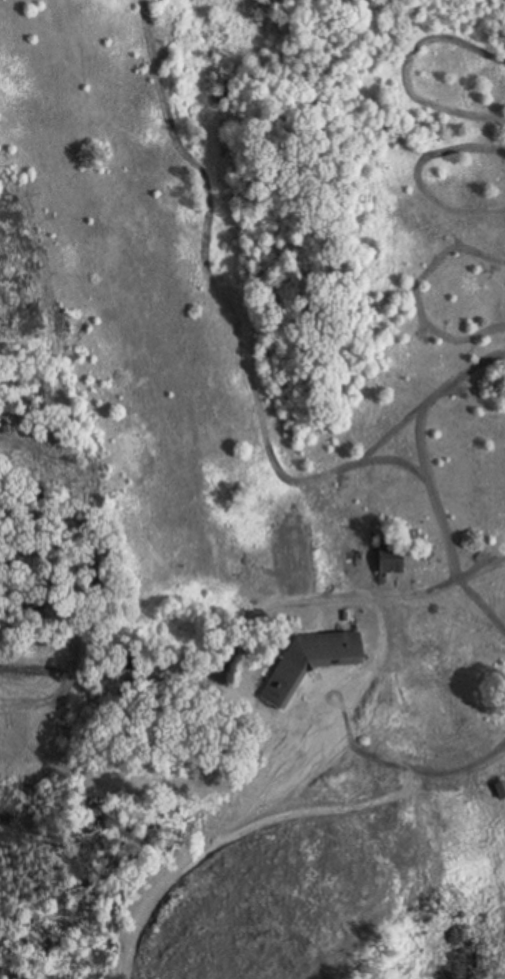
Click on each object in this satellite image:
building: (316, 660)
road: (27, 678)
parking lot: (54, 737)

